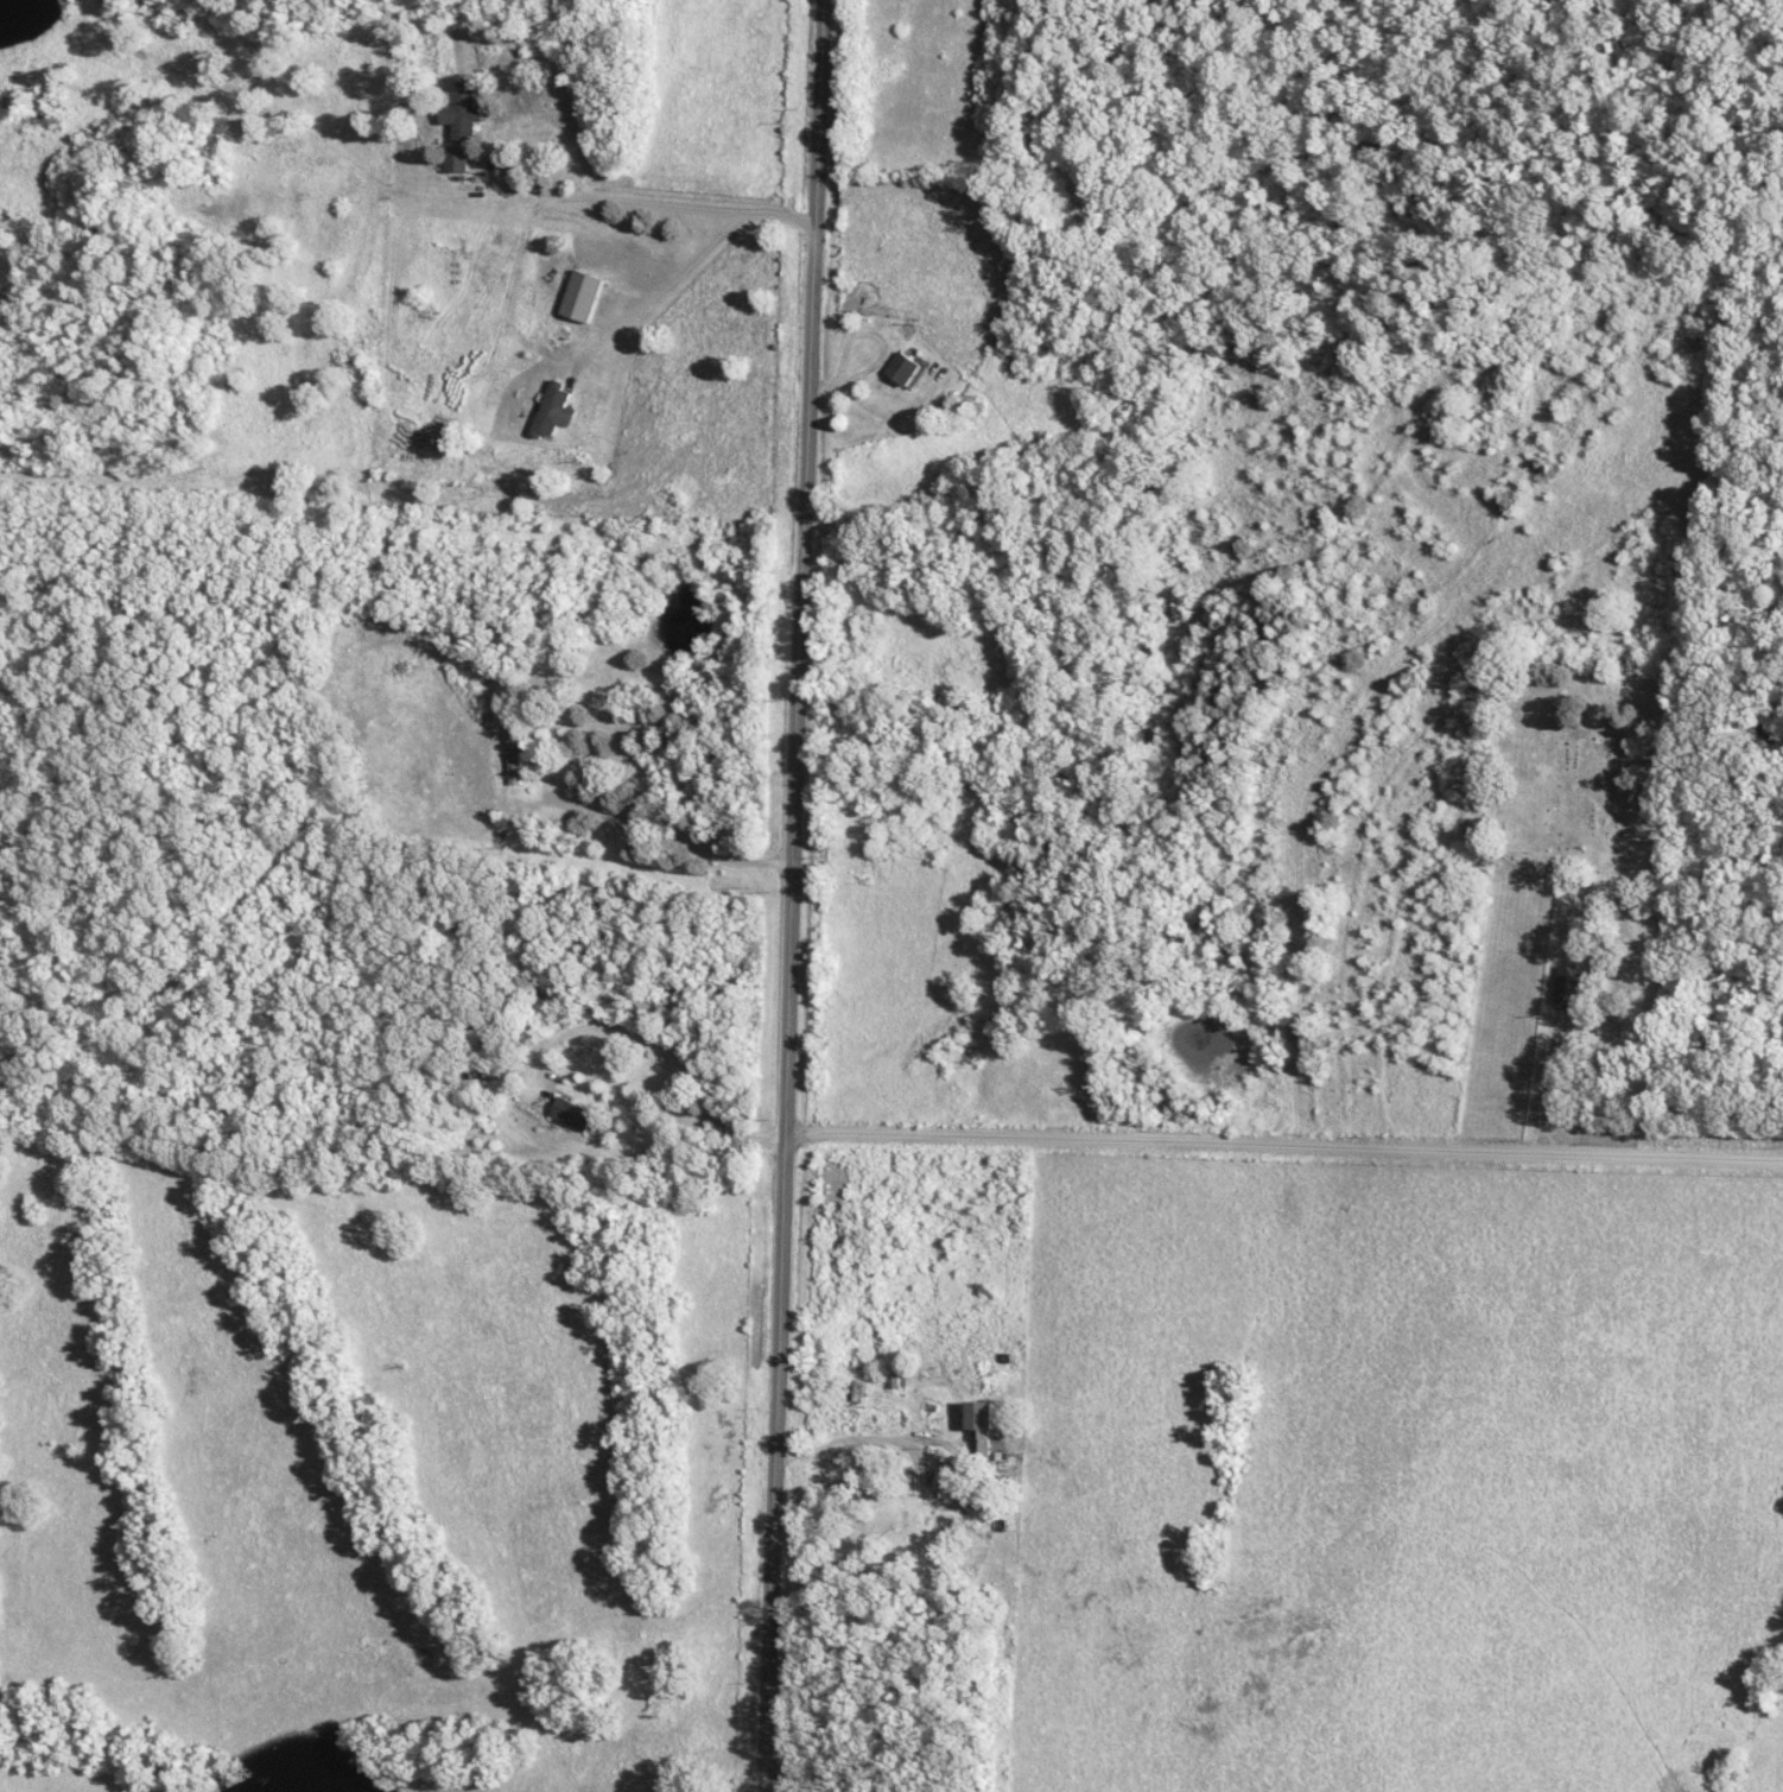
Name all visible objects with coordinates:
building: (463, 113)
building: (457, 159)
road: (649, 205)
road: (666, 283)
building: (586, 295)
building: (899, 368)
building: (558, 409)
road: (876, 414)
building: (525, 754)
road: (843, 771)
road: (670, 834)
park: (1554, 860)
road: (791, 895)
building: (1568, 987)
building: (1607, 1028)
road: (662, 1043)
road: (1550, 1088)
building: (580, 1114)
road: (1282, 1145)
building: (867, 1387)
building: (989, 1421)
road: (906, 1438)
building: (1014, 1464)

